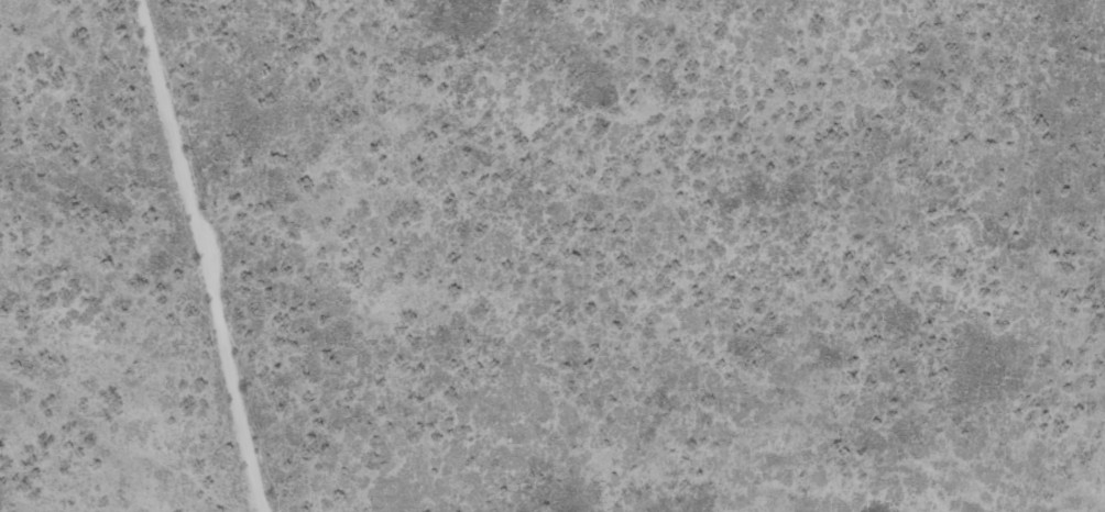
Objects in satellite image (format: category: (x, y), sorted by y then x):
road: (198, 256)

